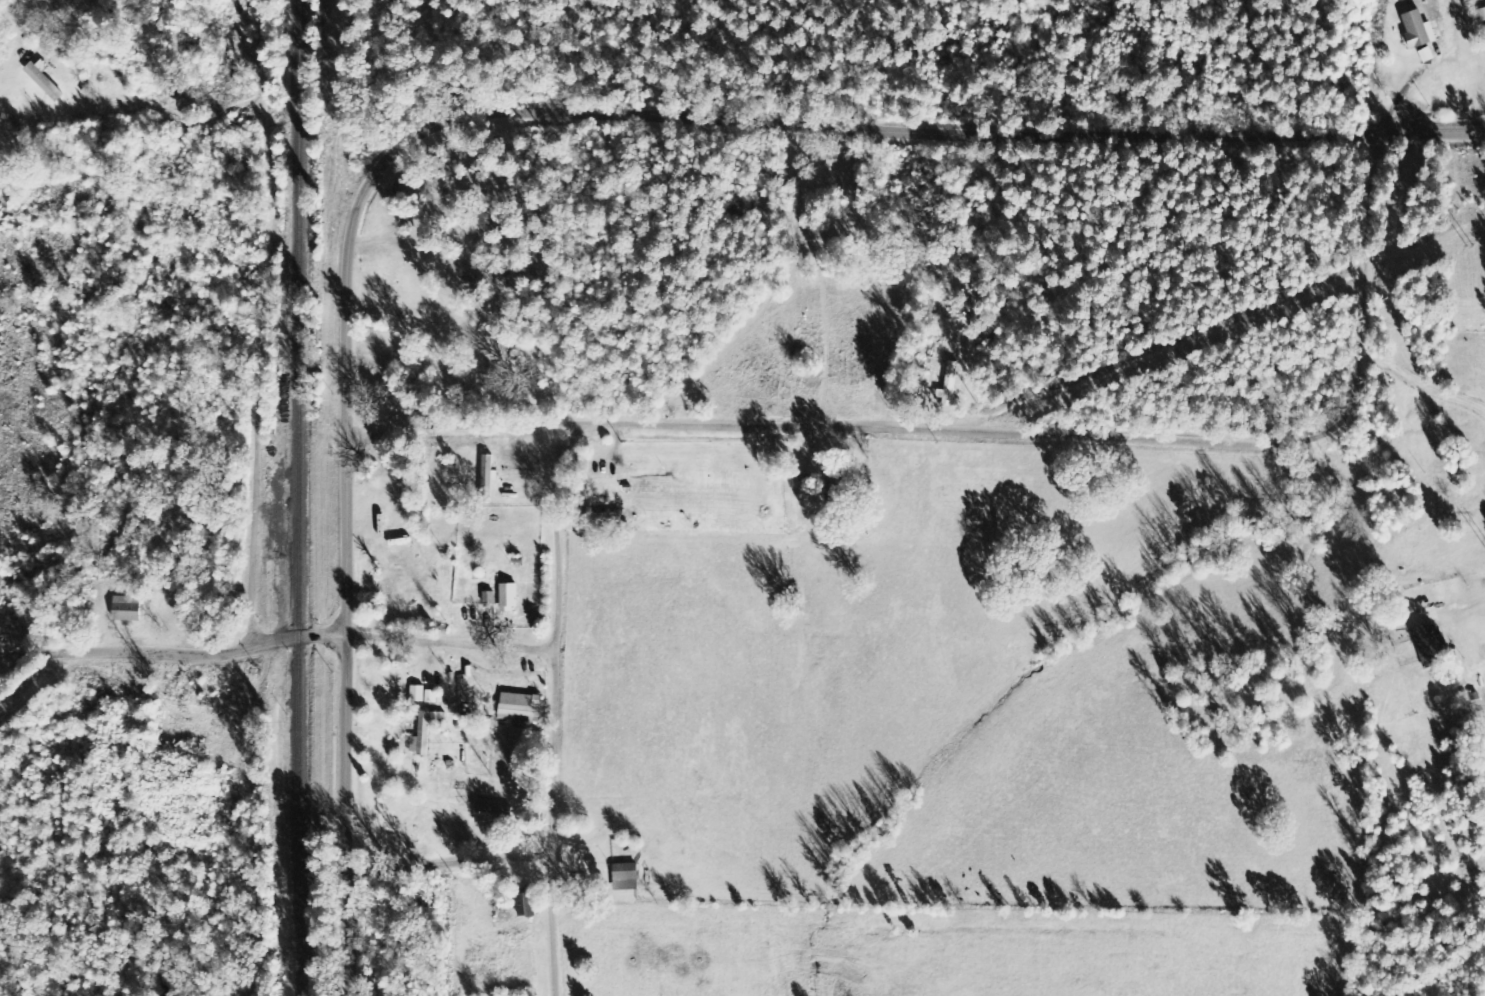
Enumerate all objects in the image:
road: (687, 140)
power tower: (1469, 249)
road: (261, 325)
road: (984, 426)
building: (486, 478)
railway: (301, 497)
road: (1404, 521)
building: (506, 596)
building: (129, 606)
road: (278, 642)
building: (421, 695)
building: (517, 705)
road: (556, 710)
building: (425, 733)
road: (347, 815)
road: (450, 864)
building: (622, 876)

